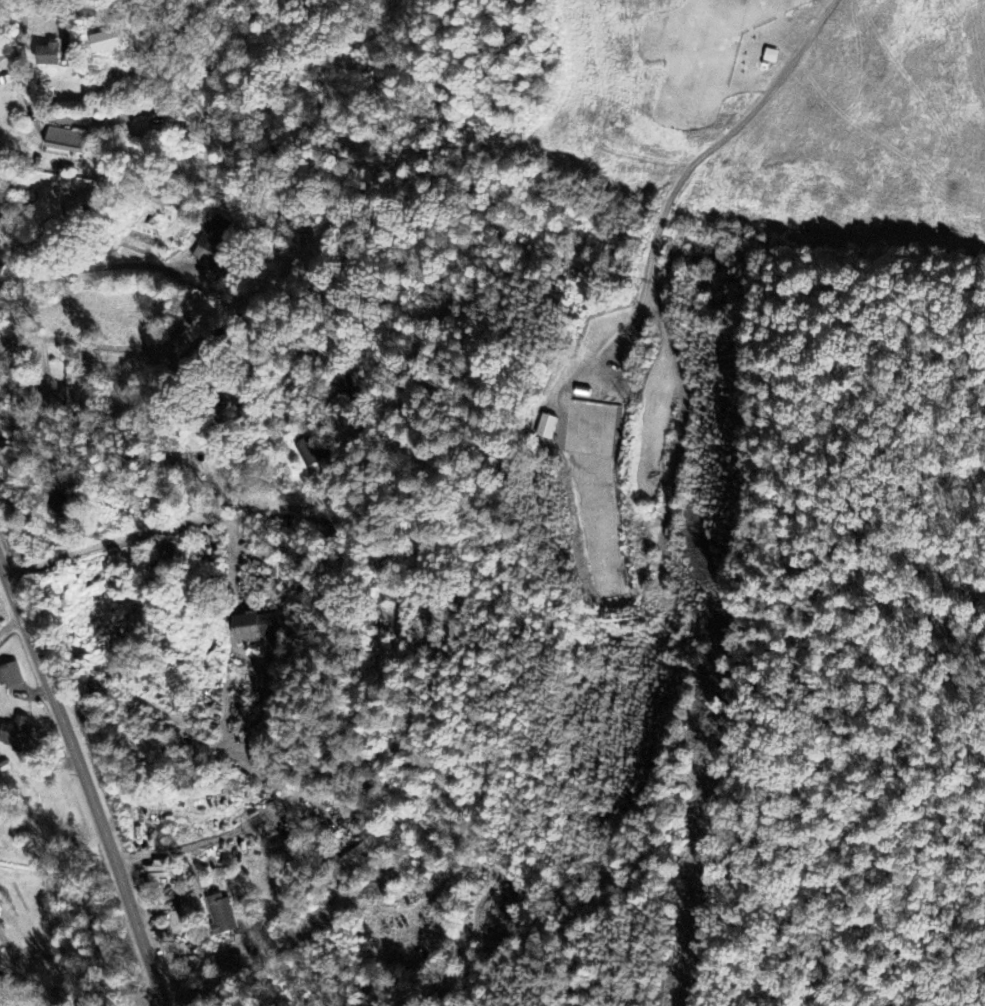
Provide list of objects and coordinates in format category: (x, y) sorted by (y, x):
road: (68, 9)
road: (11, 35)
building: (104, 43)
building: (48, 57)
building: (770, 59)
building: (66, 142)
road: (695, 160)
building: (79, 206)
road: (0, 227)
building: (210, 240)
road: (10, 261)
building: (13, 379)
building: (68, 389)
building: (546, 428)
building: (309, 452)
road: (148, 532)
building: (258, 627)
building: (10, 676)
building: (15, 734)
road: (86, 781)
building: (220, 915)
building: (1, 964)
road: (95, 997)

